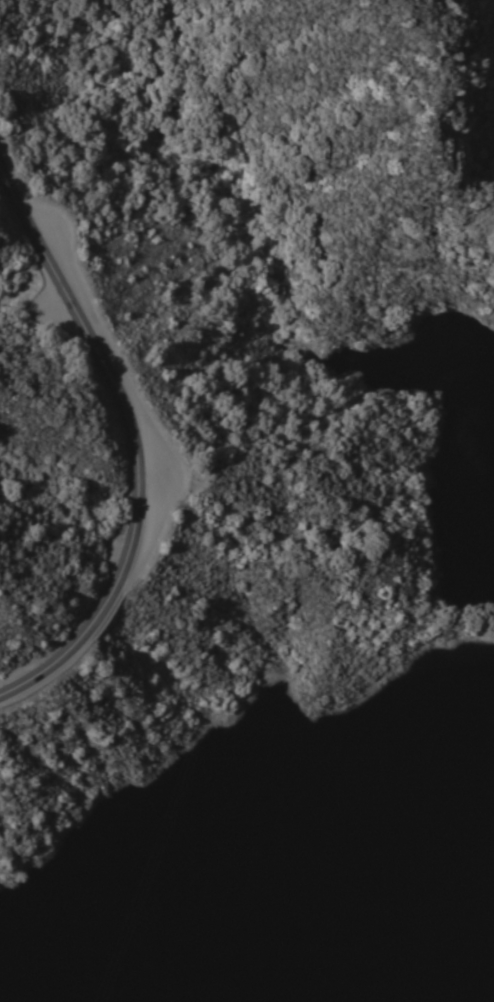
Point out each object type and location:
road: (131, 441)
parking lot: (158, 486)
river: (372, 1000)

